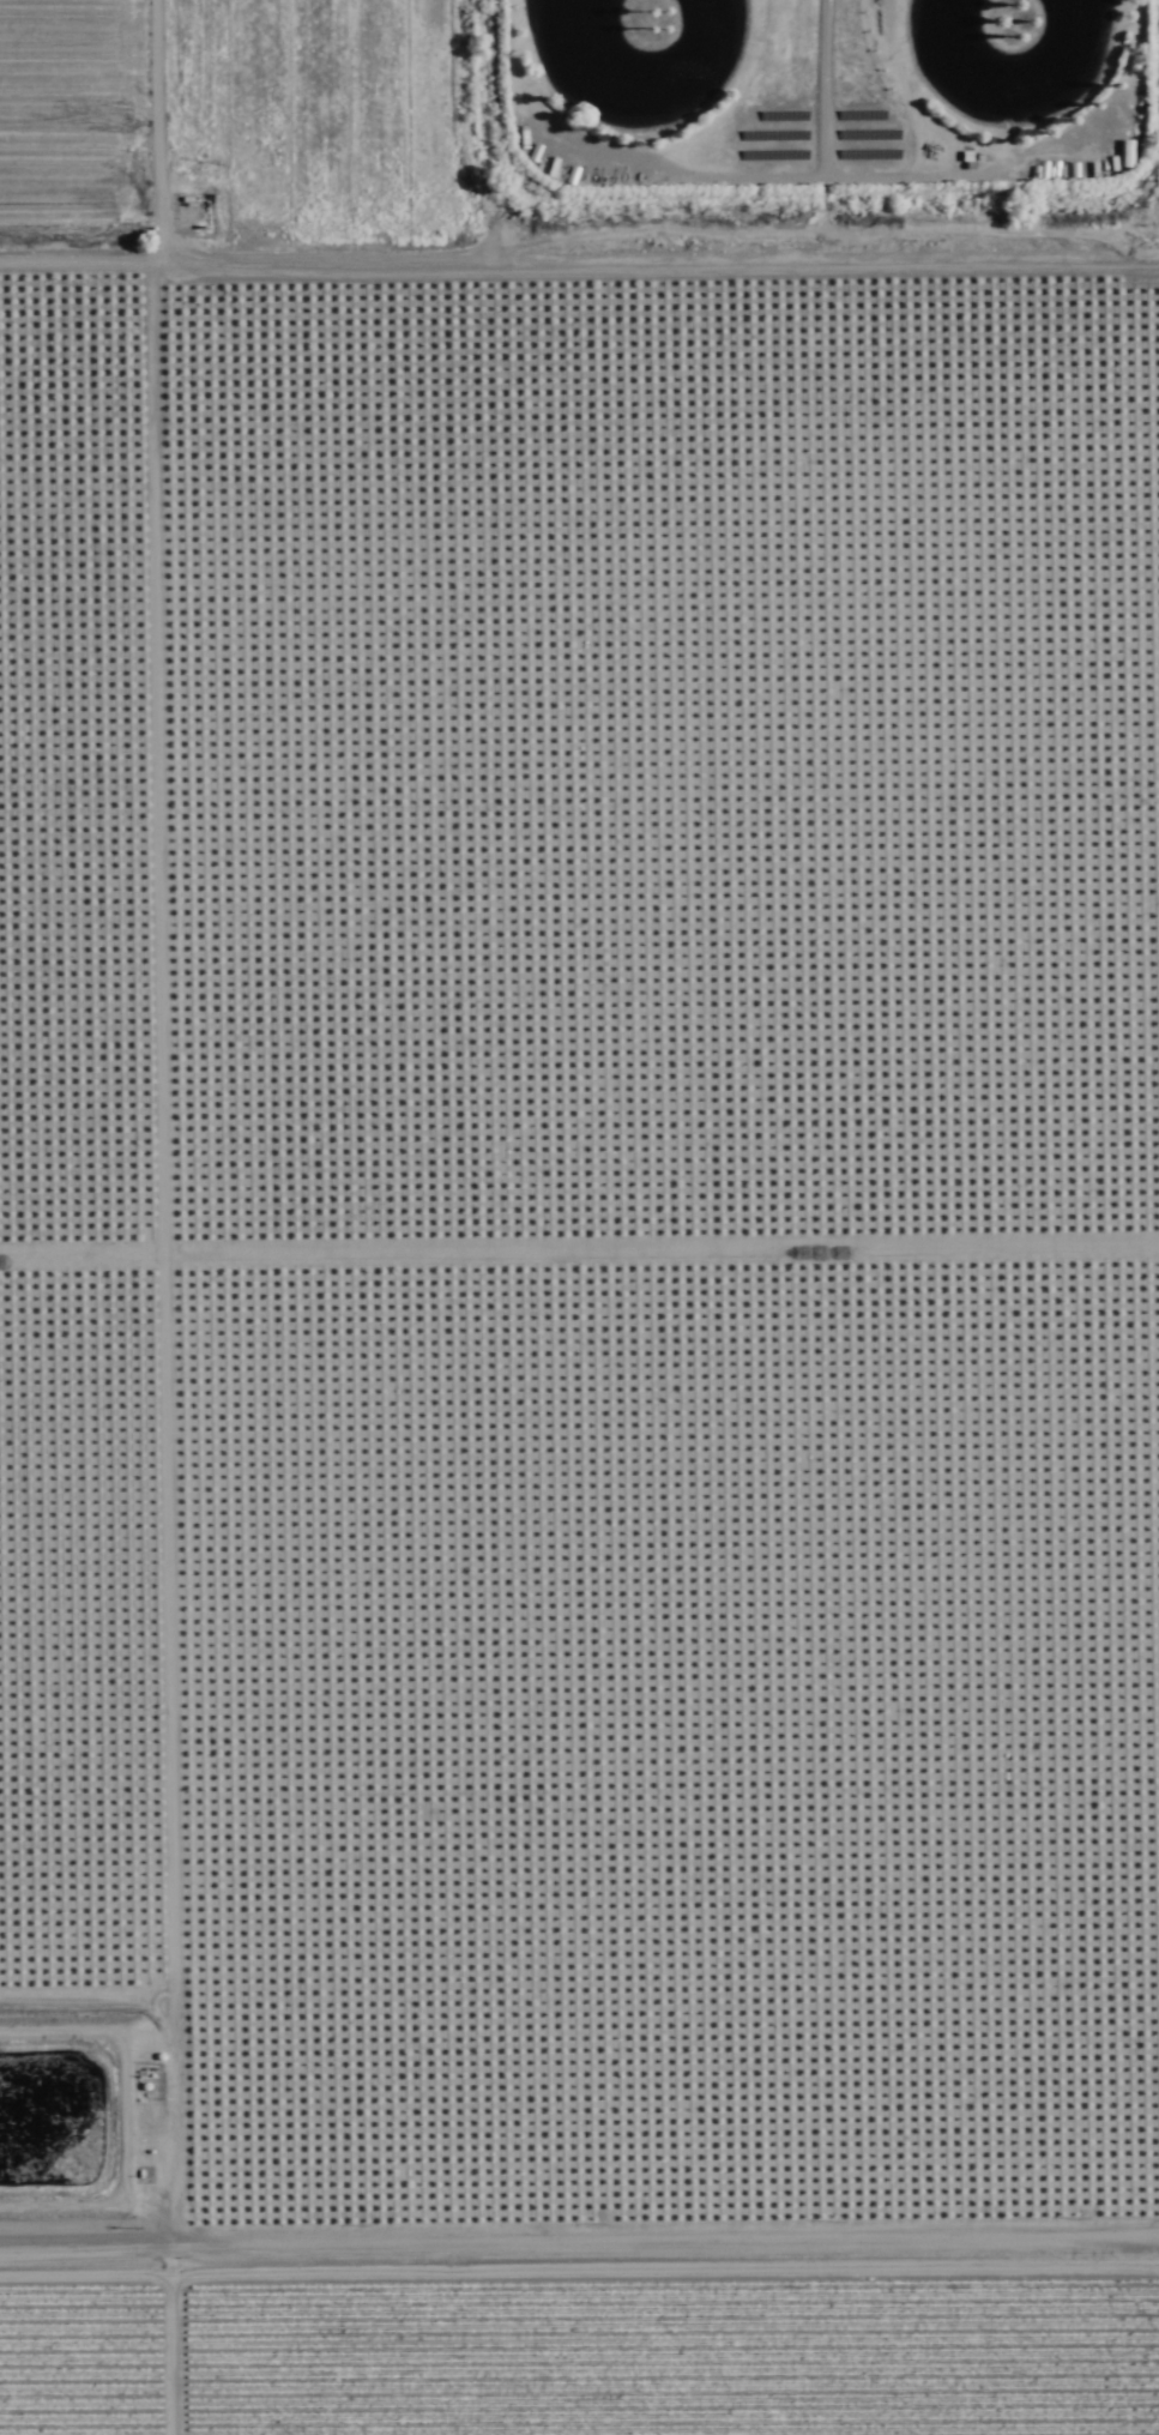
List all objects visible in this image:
crop: (195, 111)
crop: (1129, 116)
road: (579, 263)
road: (579, 2235)
crop: (584, 2331)
road: (150, 2333)

